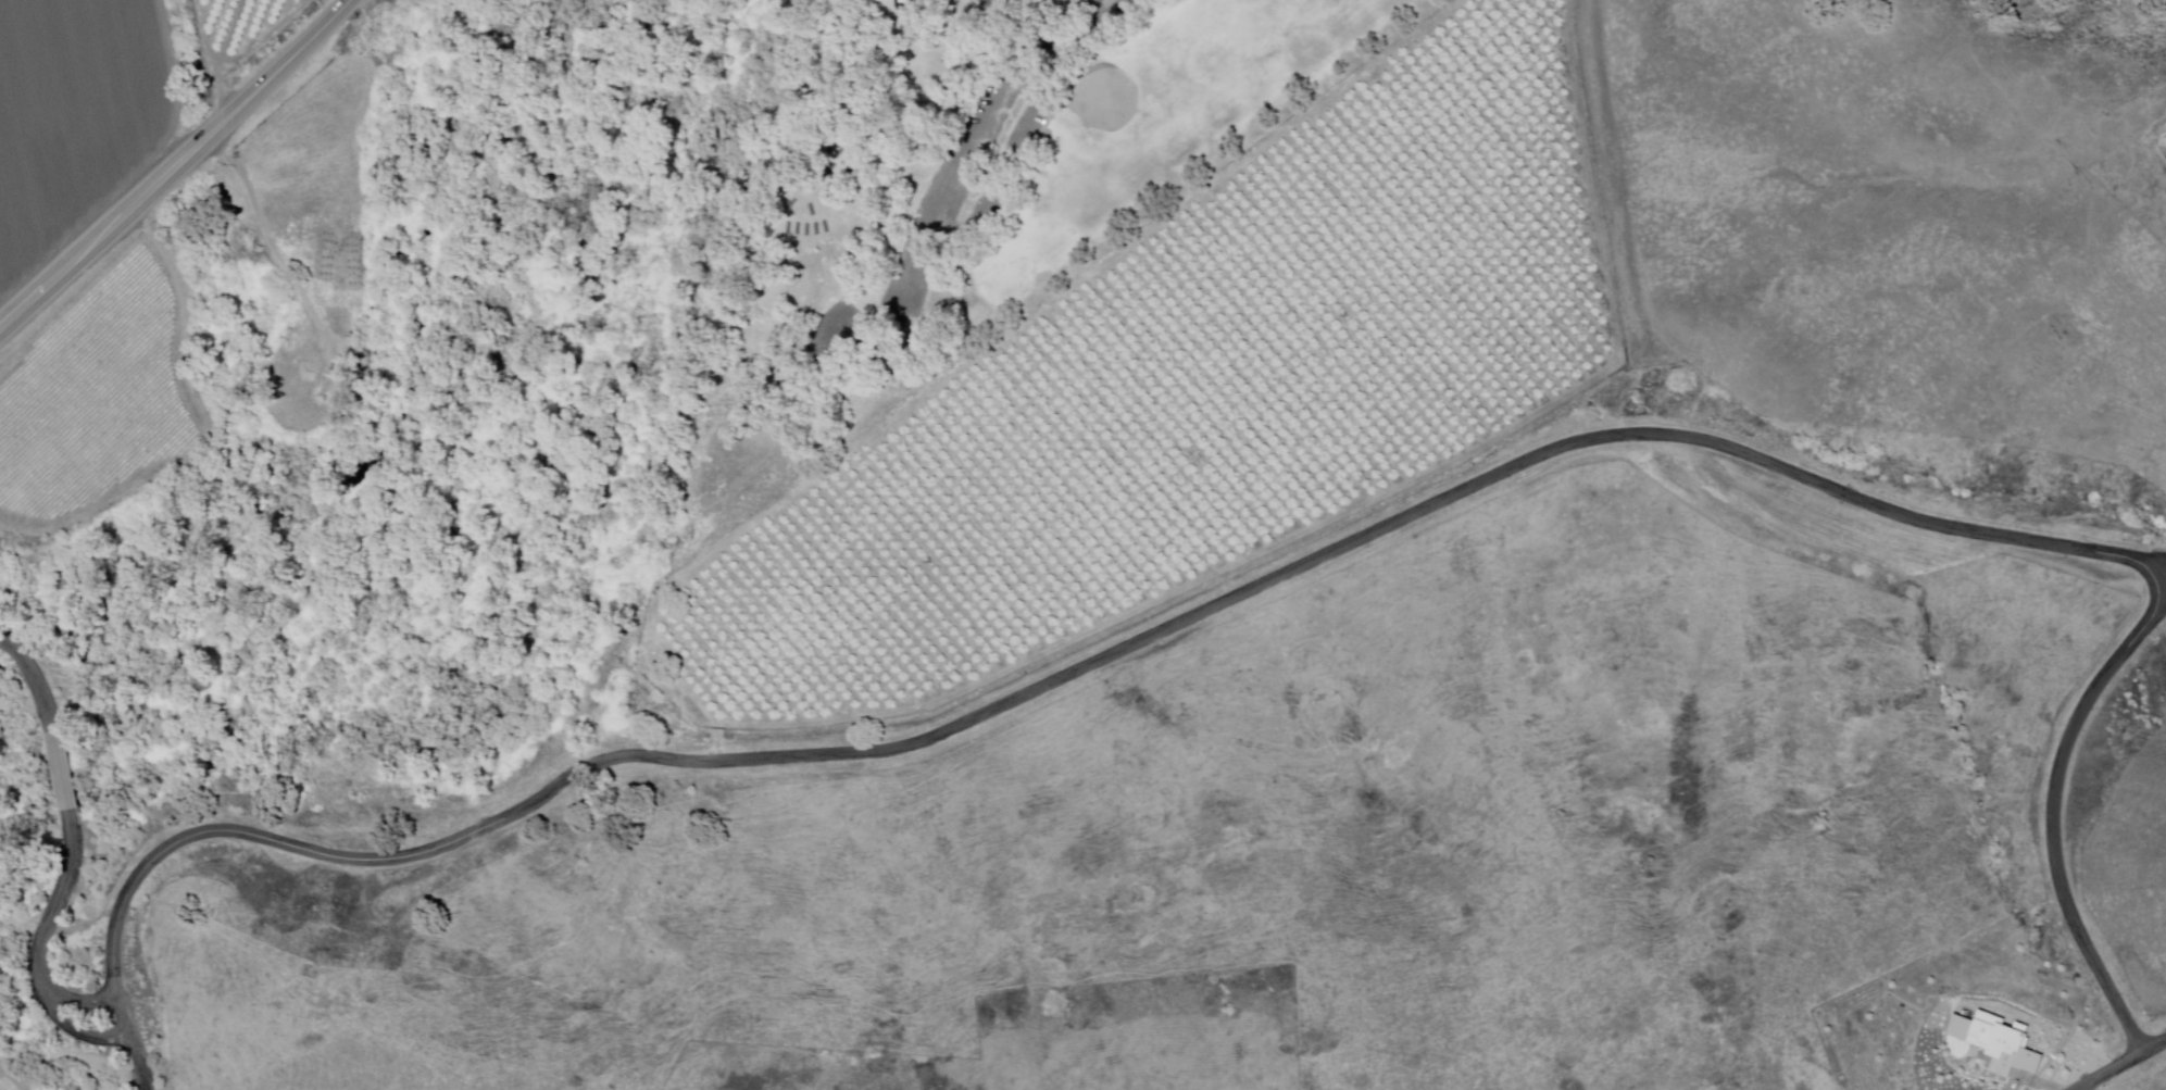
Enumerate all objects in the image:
parking lot: (1003, 5)
crop: (105, 100)
crop: (72, 113)
park: (1167, 123)
road: (968, 163)
road: (176, 166)
parking lot: (1007, 172)
park: (880, 178)
road: (1001, 183)
building: (810, 184)
road: (1624, 223)
parking lot: (828, 336)
road: (1303, 566)
road: (8, 640)
road: (8, 647)
road: (35, 679)
road: (63, 773)
road: (60, 900)
road: (68, 998)
road: (66, 1024)
building: (1996, 1041)
road: (141, 1063)
road: (2119, 1063)
crop: (7, 1081)
crop: (2, 1086)

